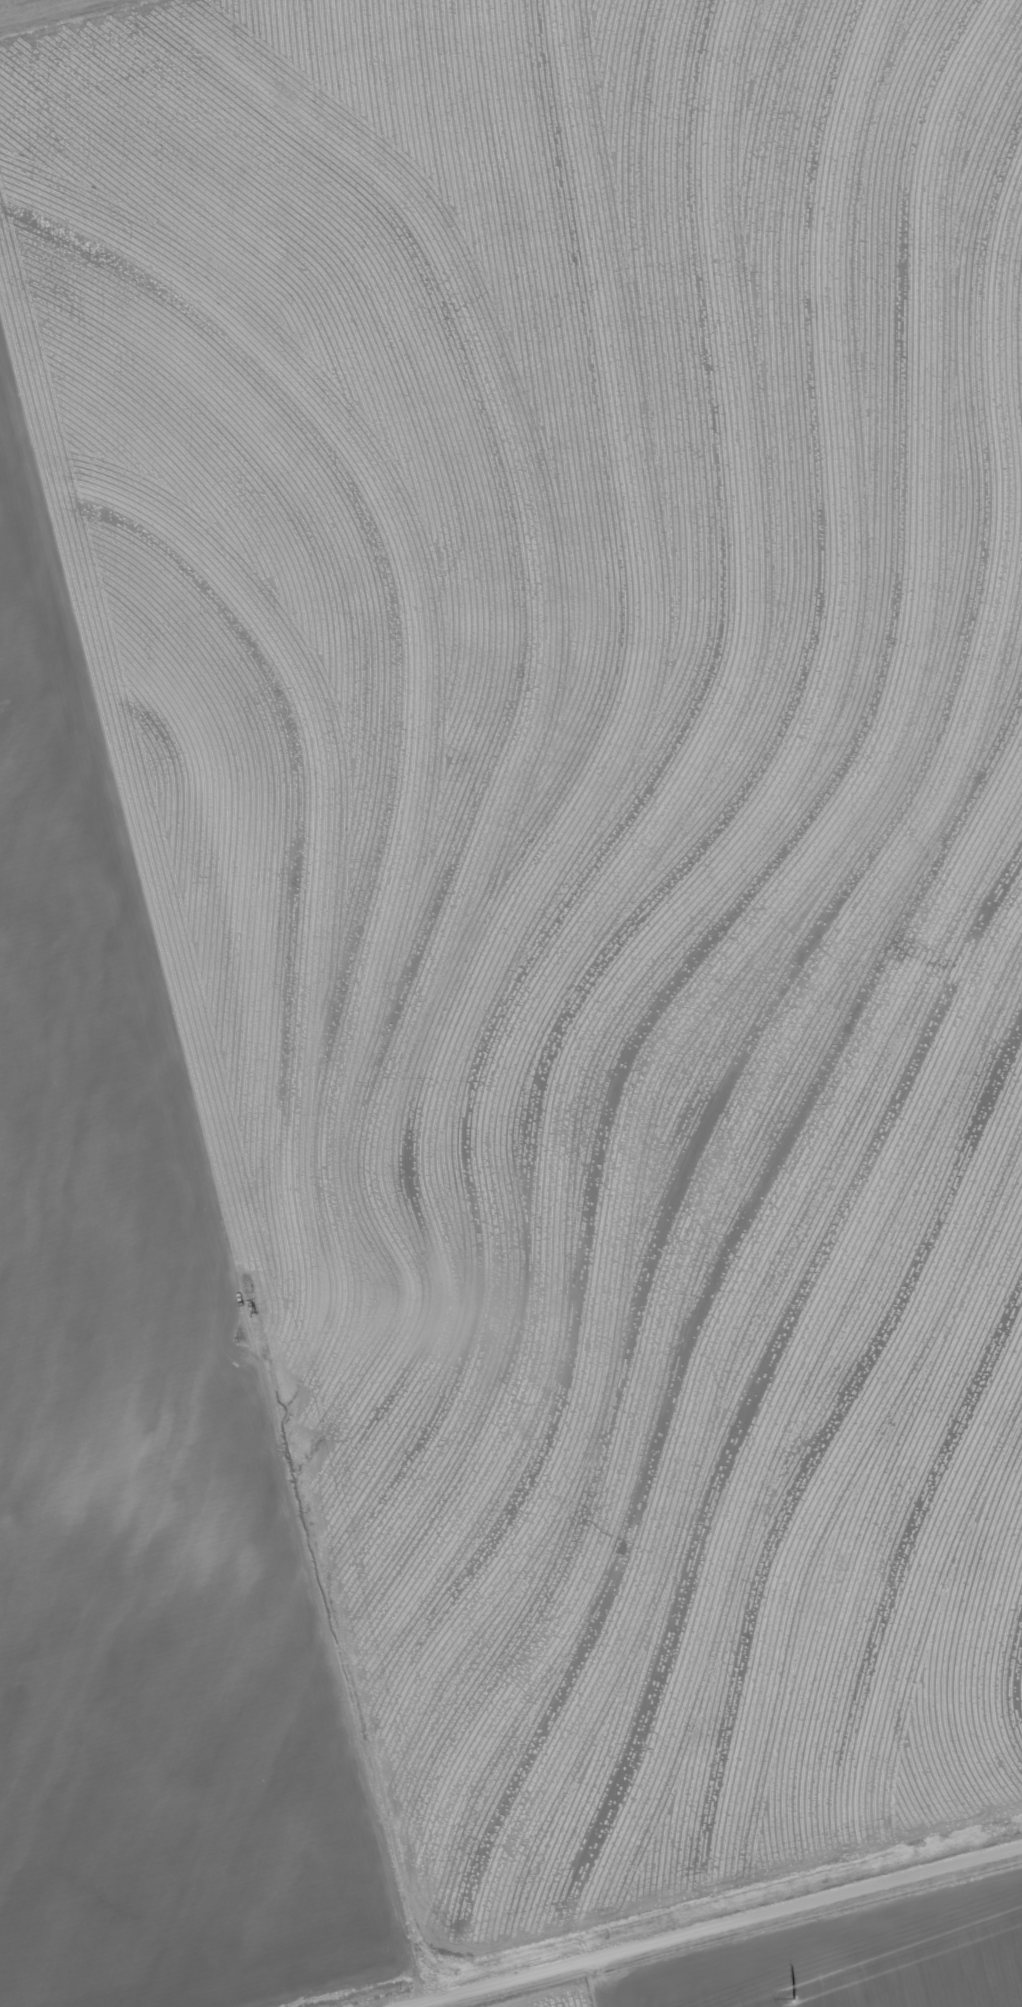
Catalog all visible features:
road: (213, 1094)
road: (692, 1922)
power tower: (796, 1998)

